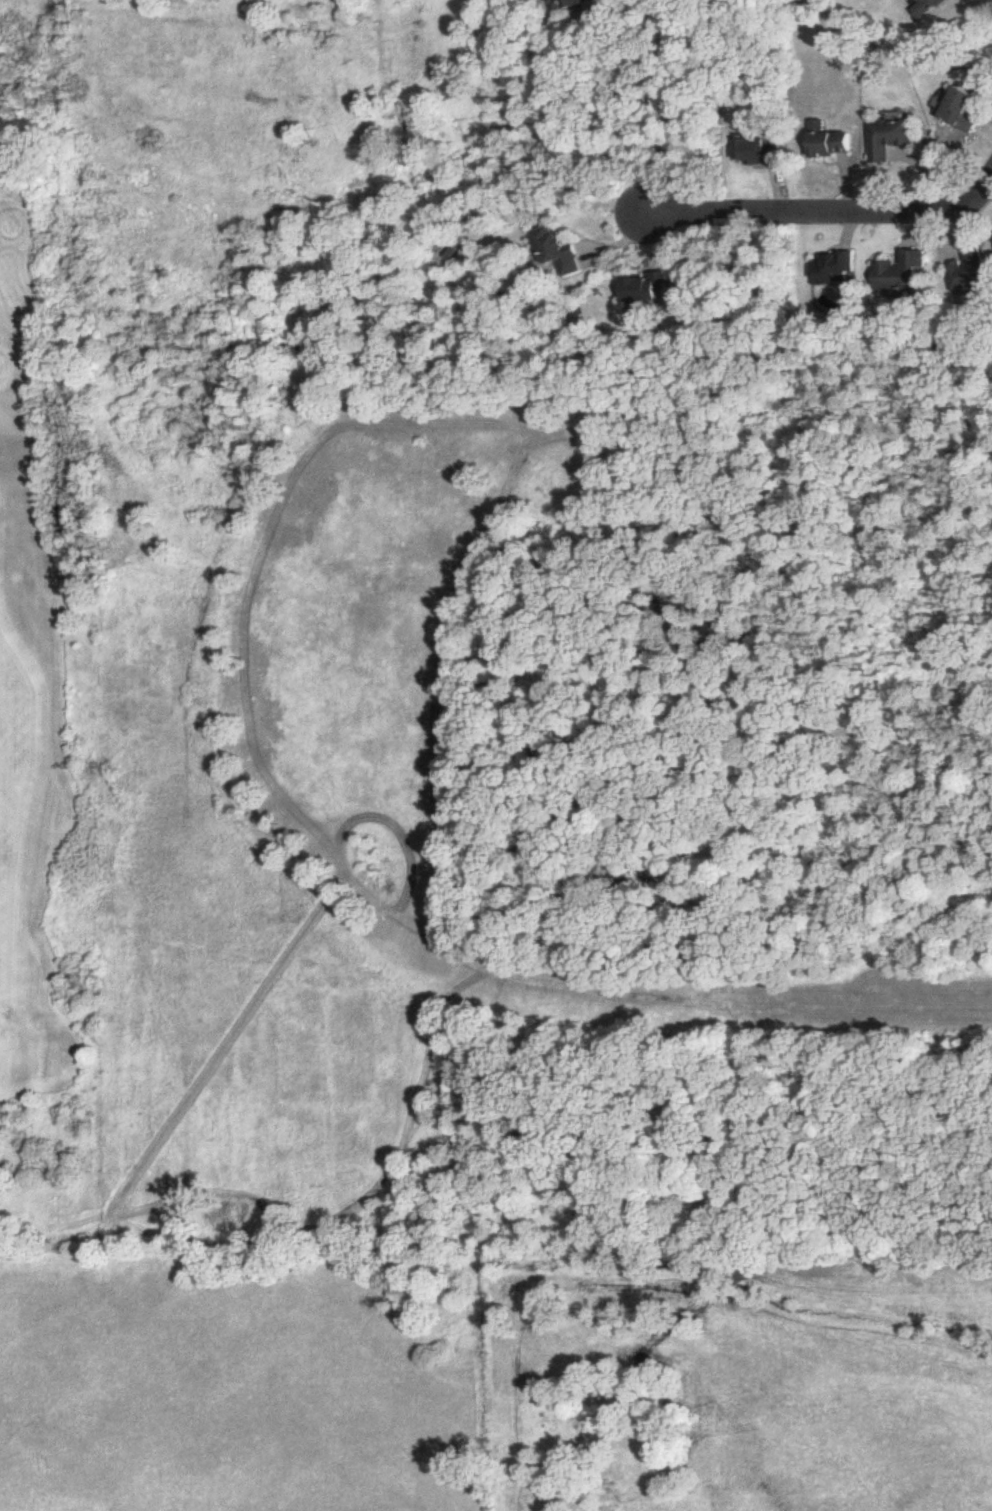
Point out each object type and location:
building: (576, 4)
building: (928, 8)
building: (965, 111)
building: (892, 139)
building: (835, 145)
building: (756, 152)
road: (805, 212)
building: (561, 251)
building: (835, 269)
building: (971, 270)
building: (903, 272)
building: (650, 290)
park: (28, 611)

